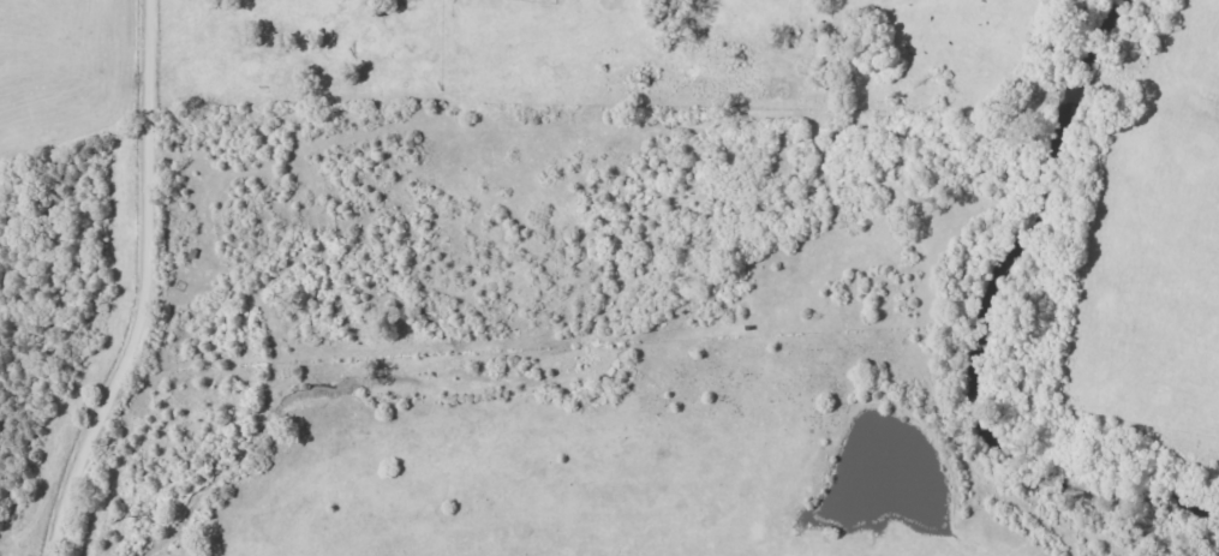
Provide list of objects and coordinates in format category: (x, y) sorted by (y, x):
road: (148, 286)

